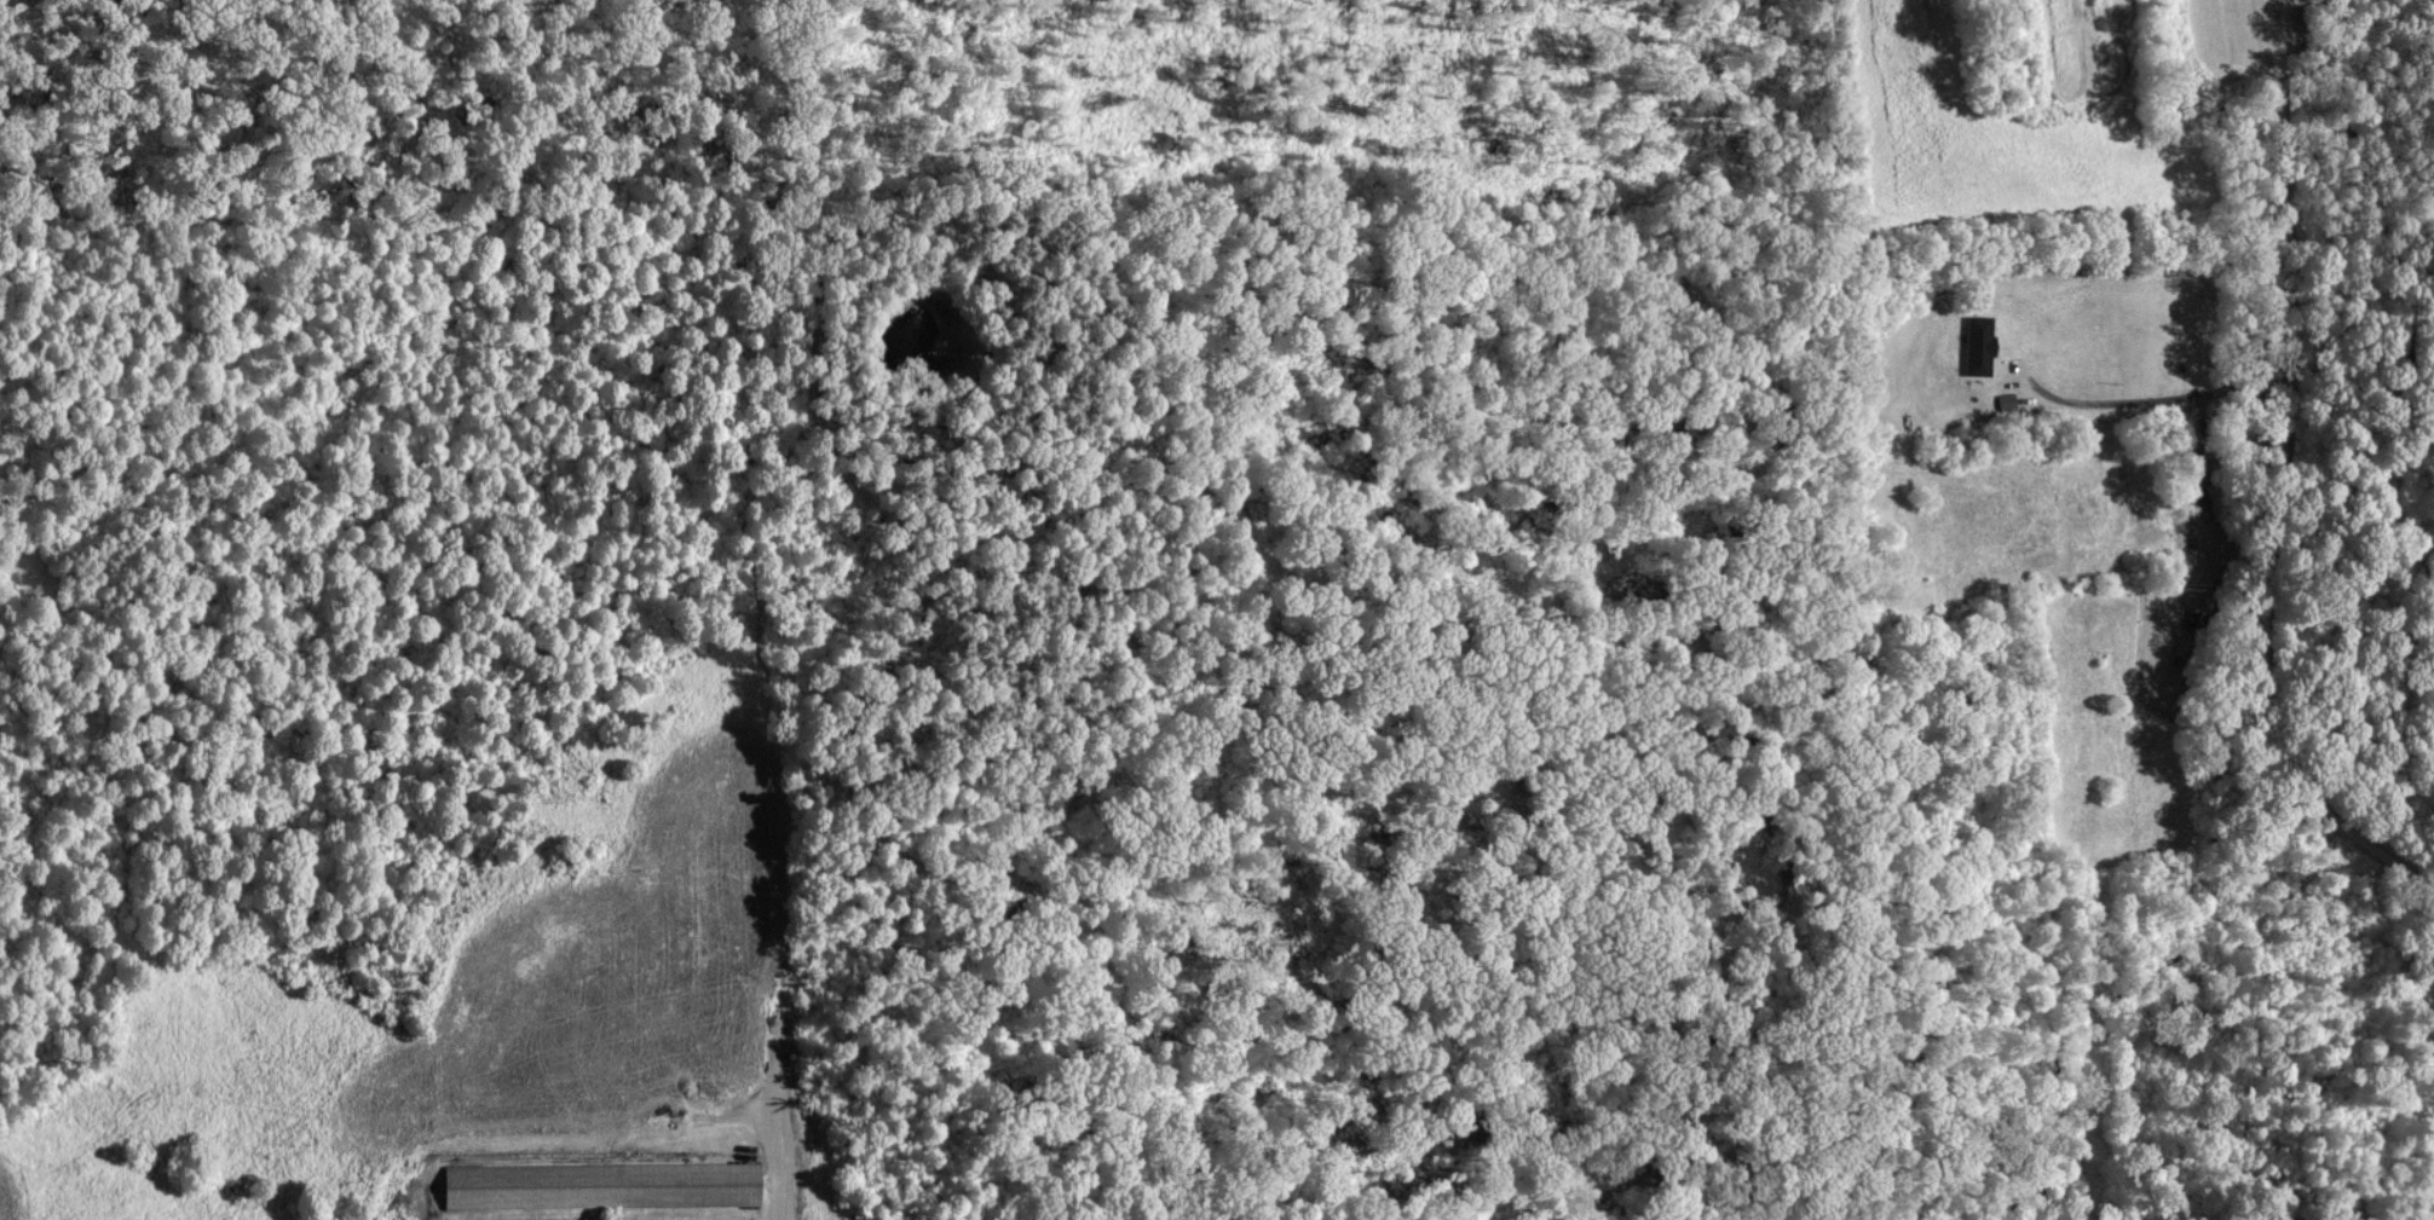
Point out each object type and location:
building: (2049, 345)
building: (2192, 469)
road: (2282, 476)
building: (598, 1185)

